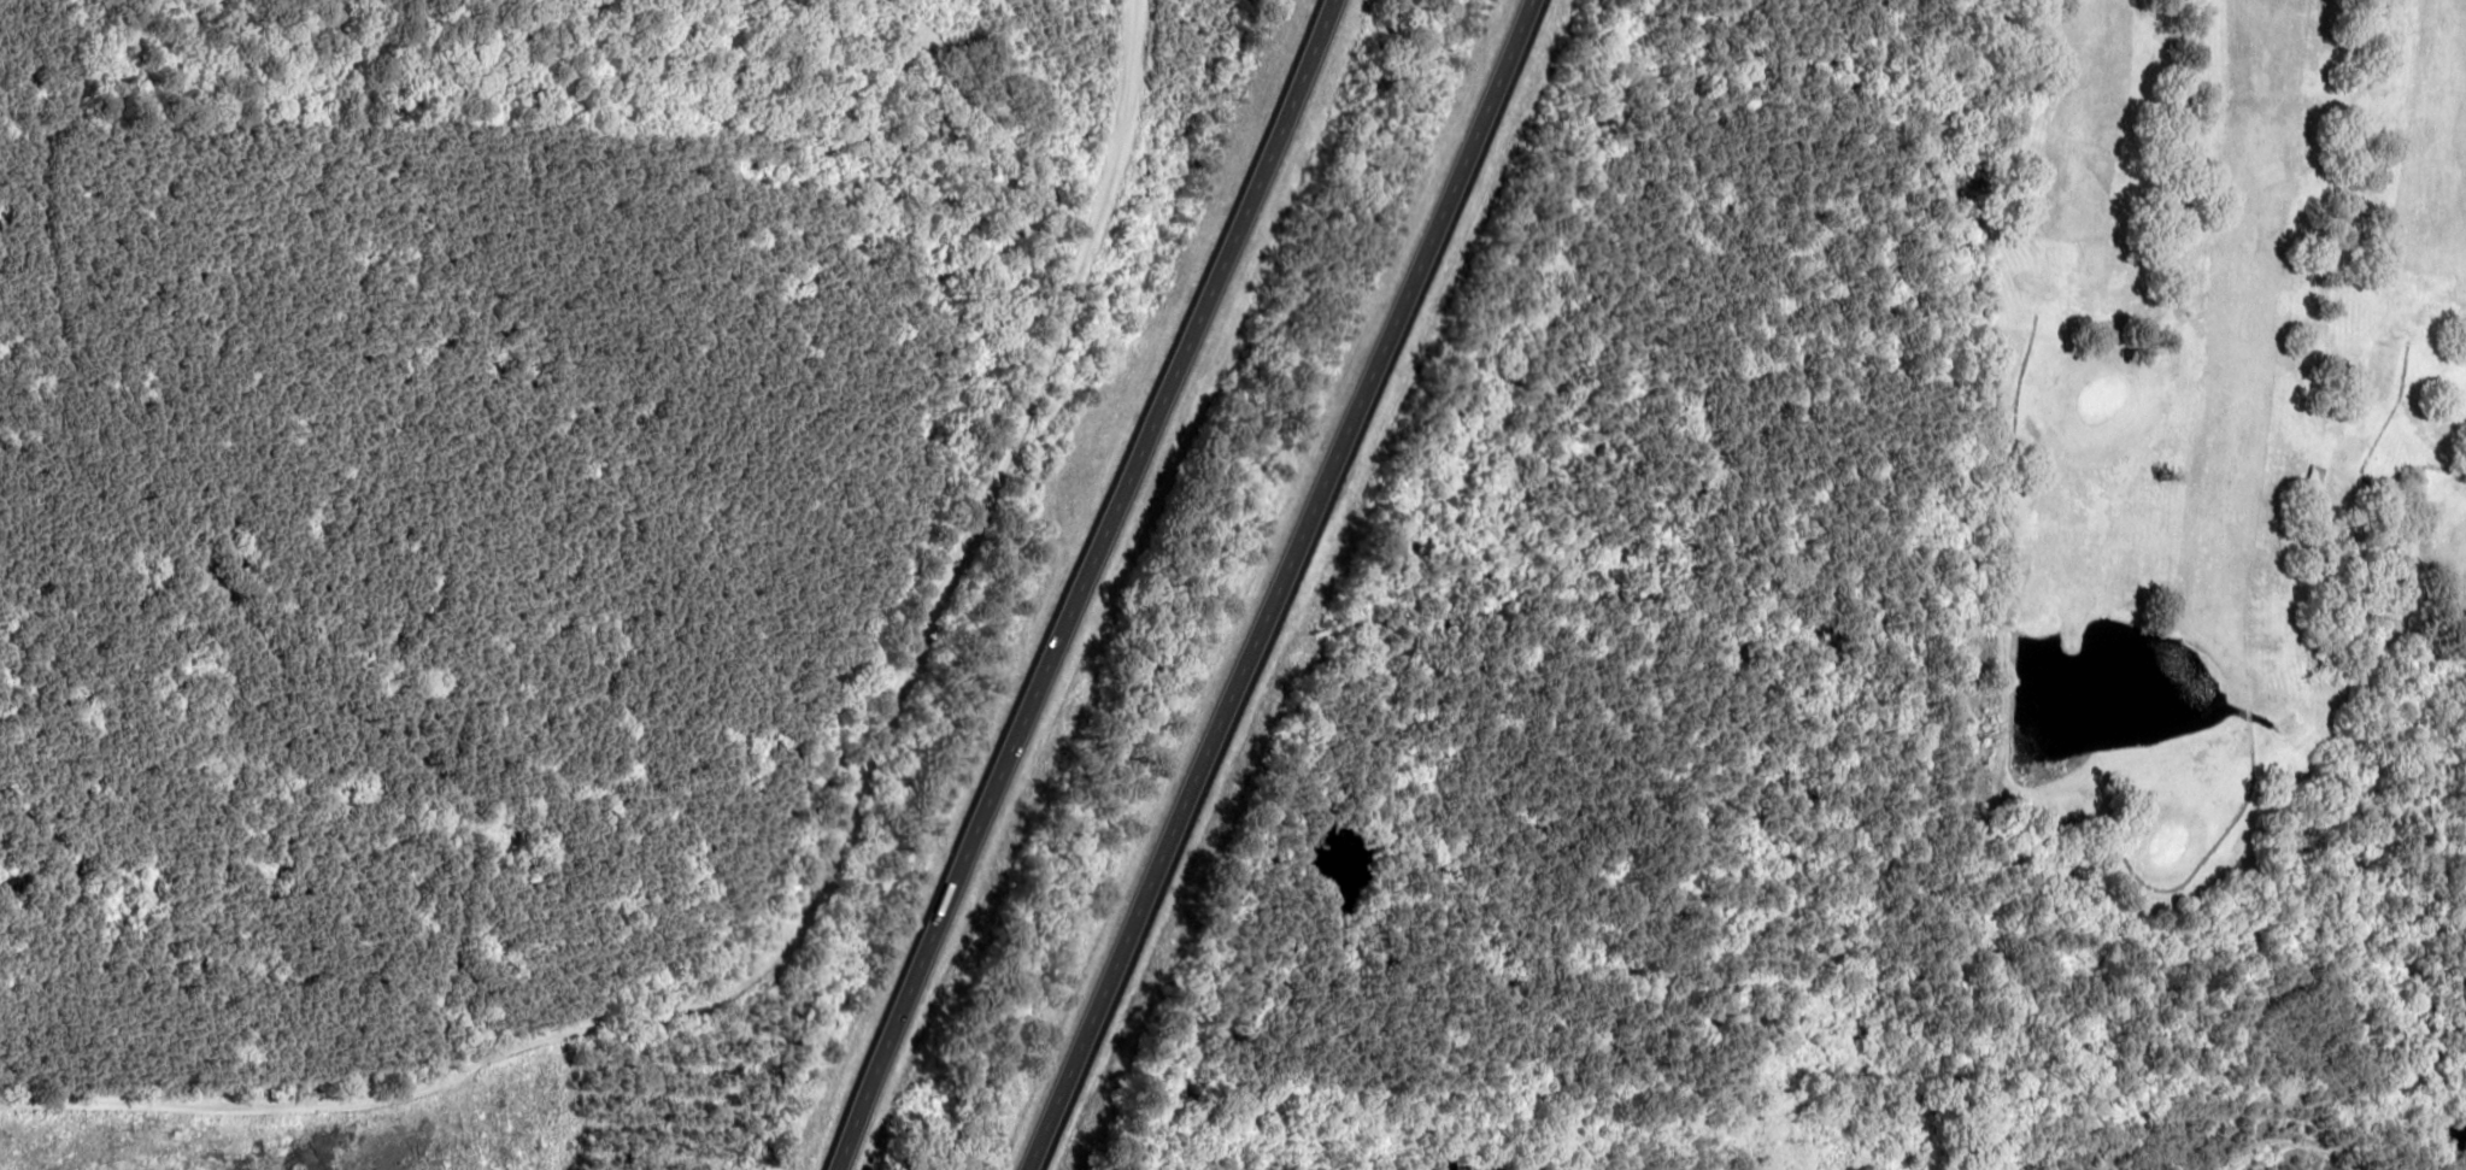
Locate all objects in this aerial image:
building: (2306, 474)
road: (1273, 583)
road: (1084, 586)
road: (764, 800)

